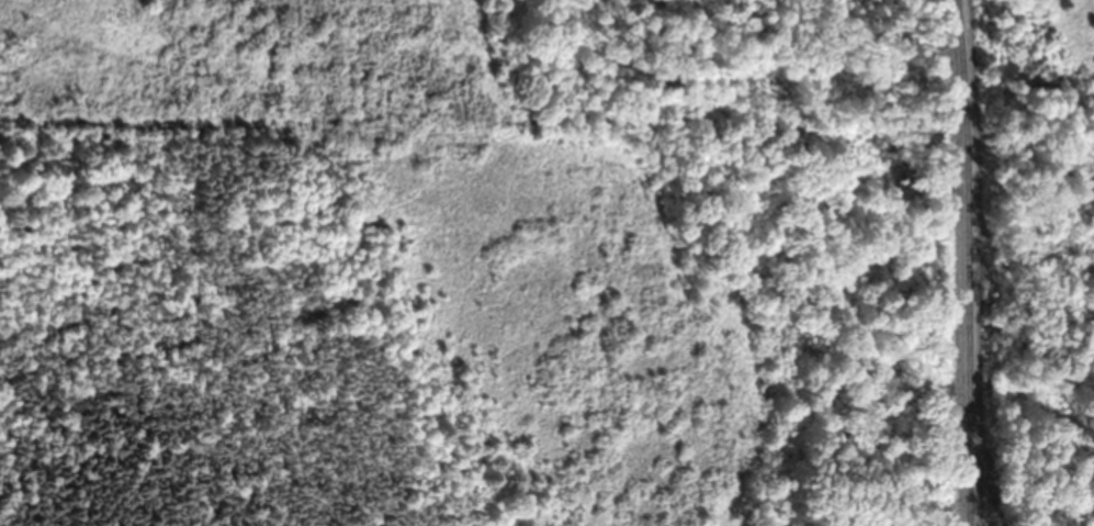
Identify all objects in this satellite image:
railway: (967, 262)

